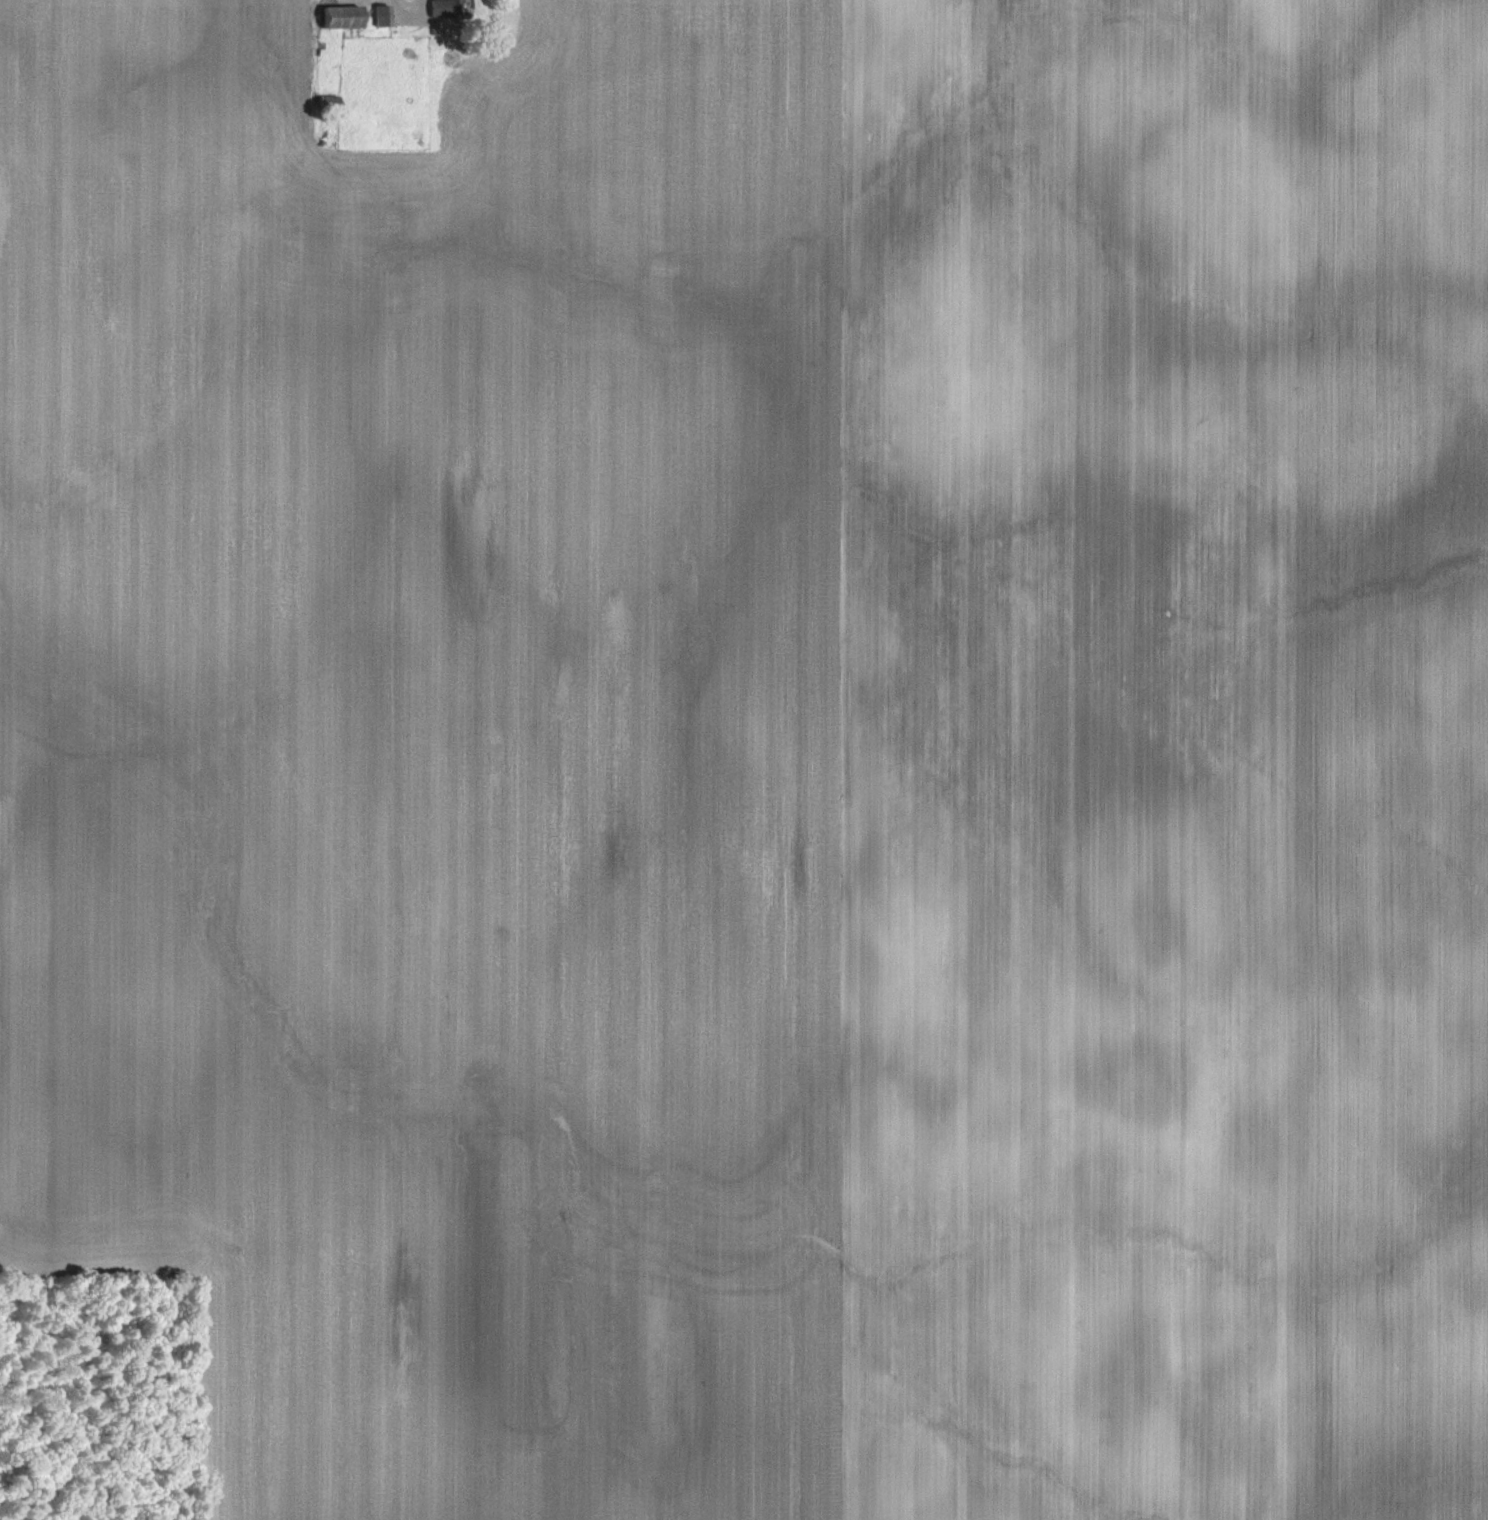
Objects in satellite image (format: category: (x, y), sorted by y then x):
building: (447, 8)
building: (383, 16)
building: (343, 17)
building: (330, 103)

